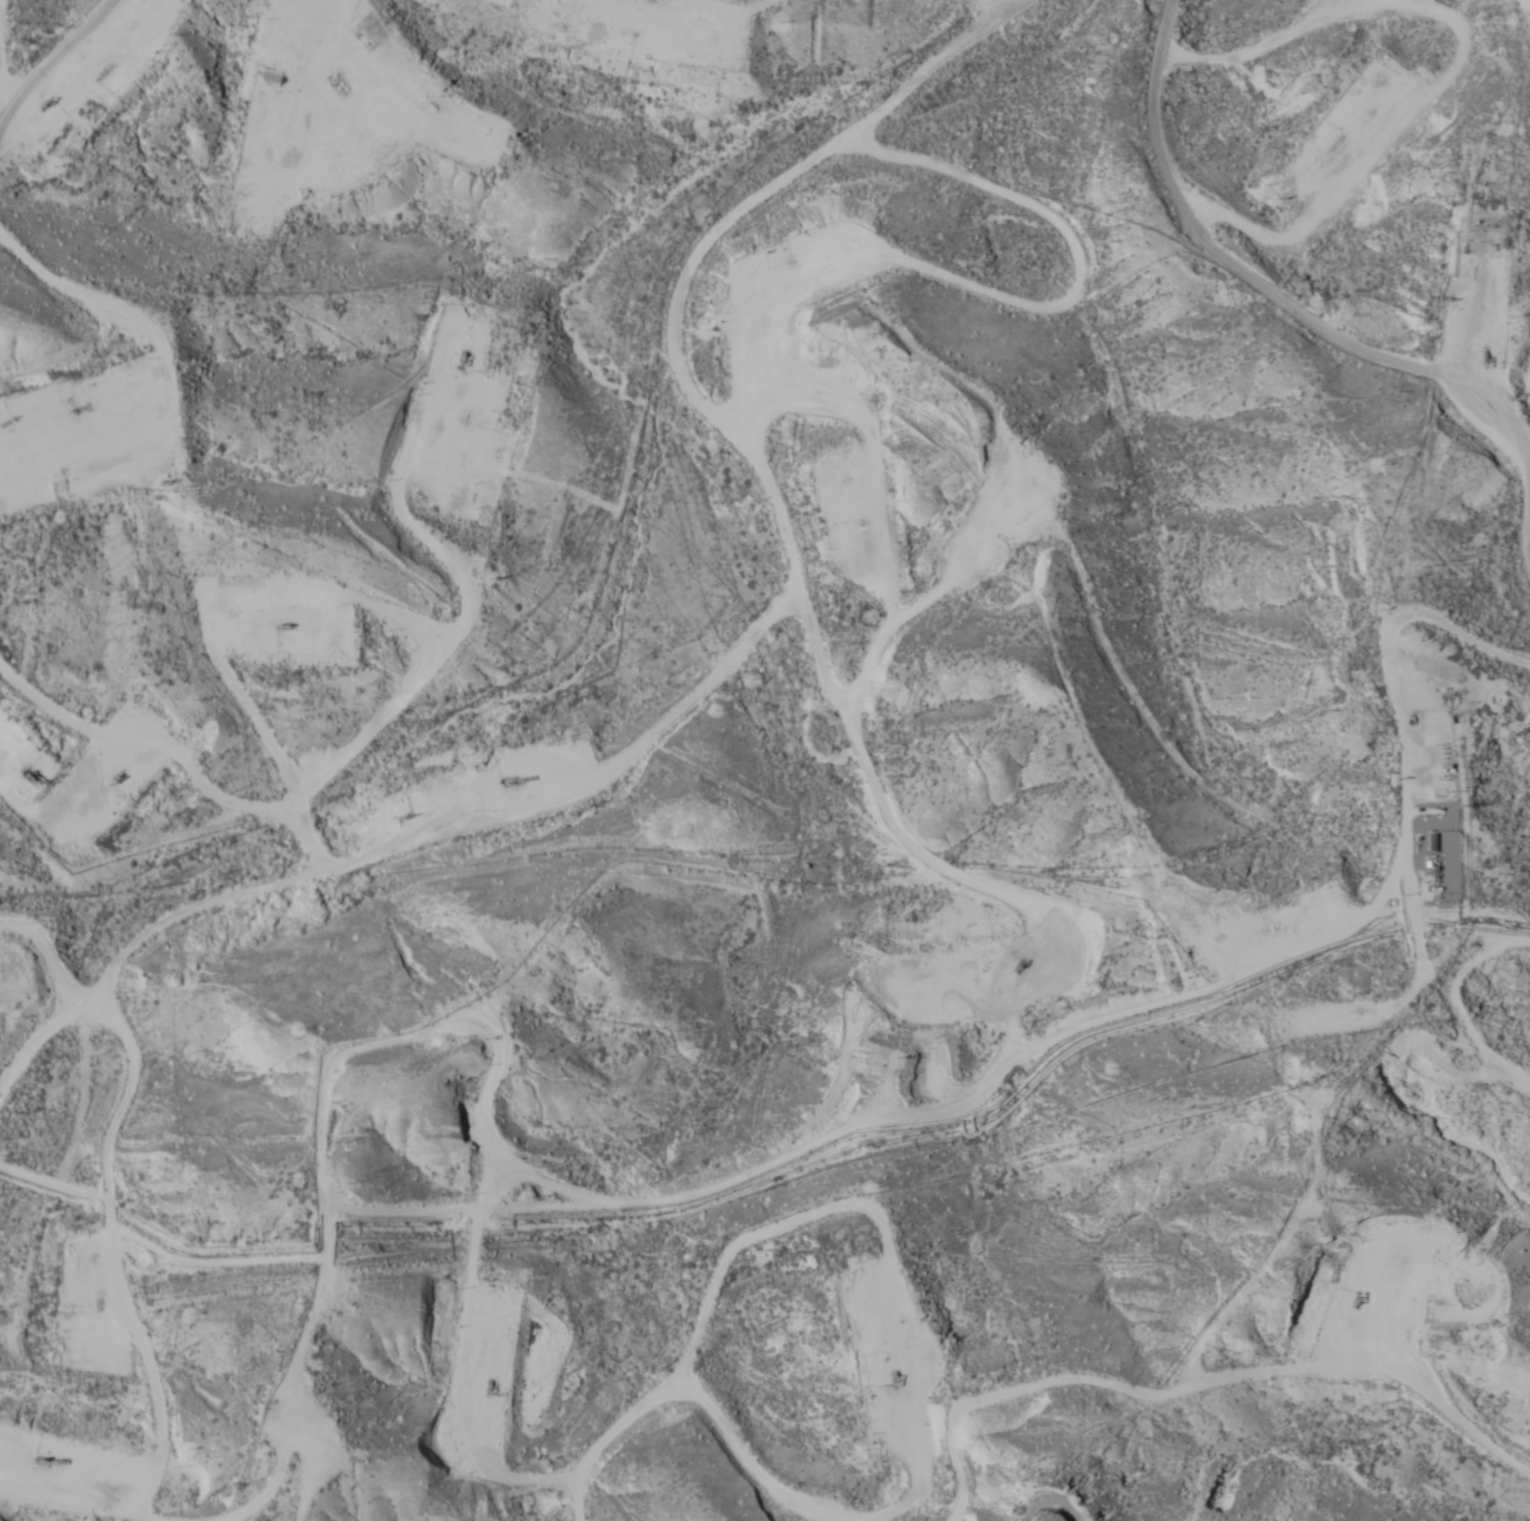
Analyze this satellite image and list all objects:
road: (1018, 2)
road: (119, 8)
road: (391, 28)
road: (190, 47)
road: (7, 199)
road: (1258, 282)
road: (57, 551)
road: (390, 700)
road: (202, 950)
road: (1443, 978)
road: (47, 1066)
road: (969, 1104)
road: (932, 1407)
building: (1053, 1517)

